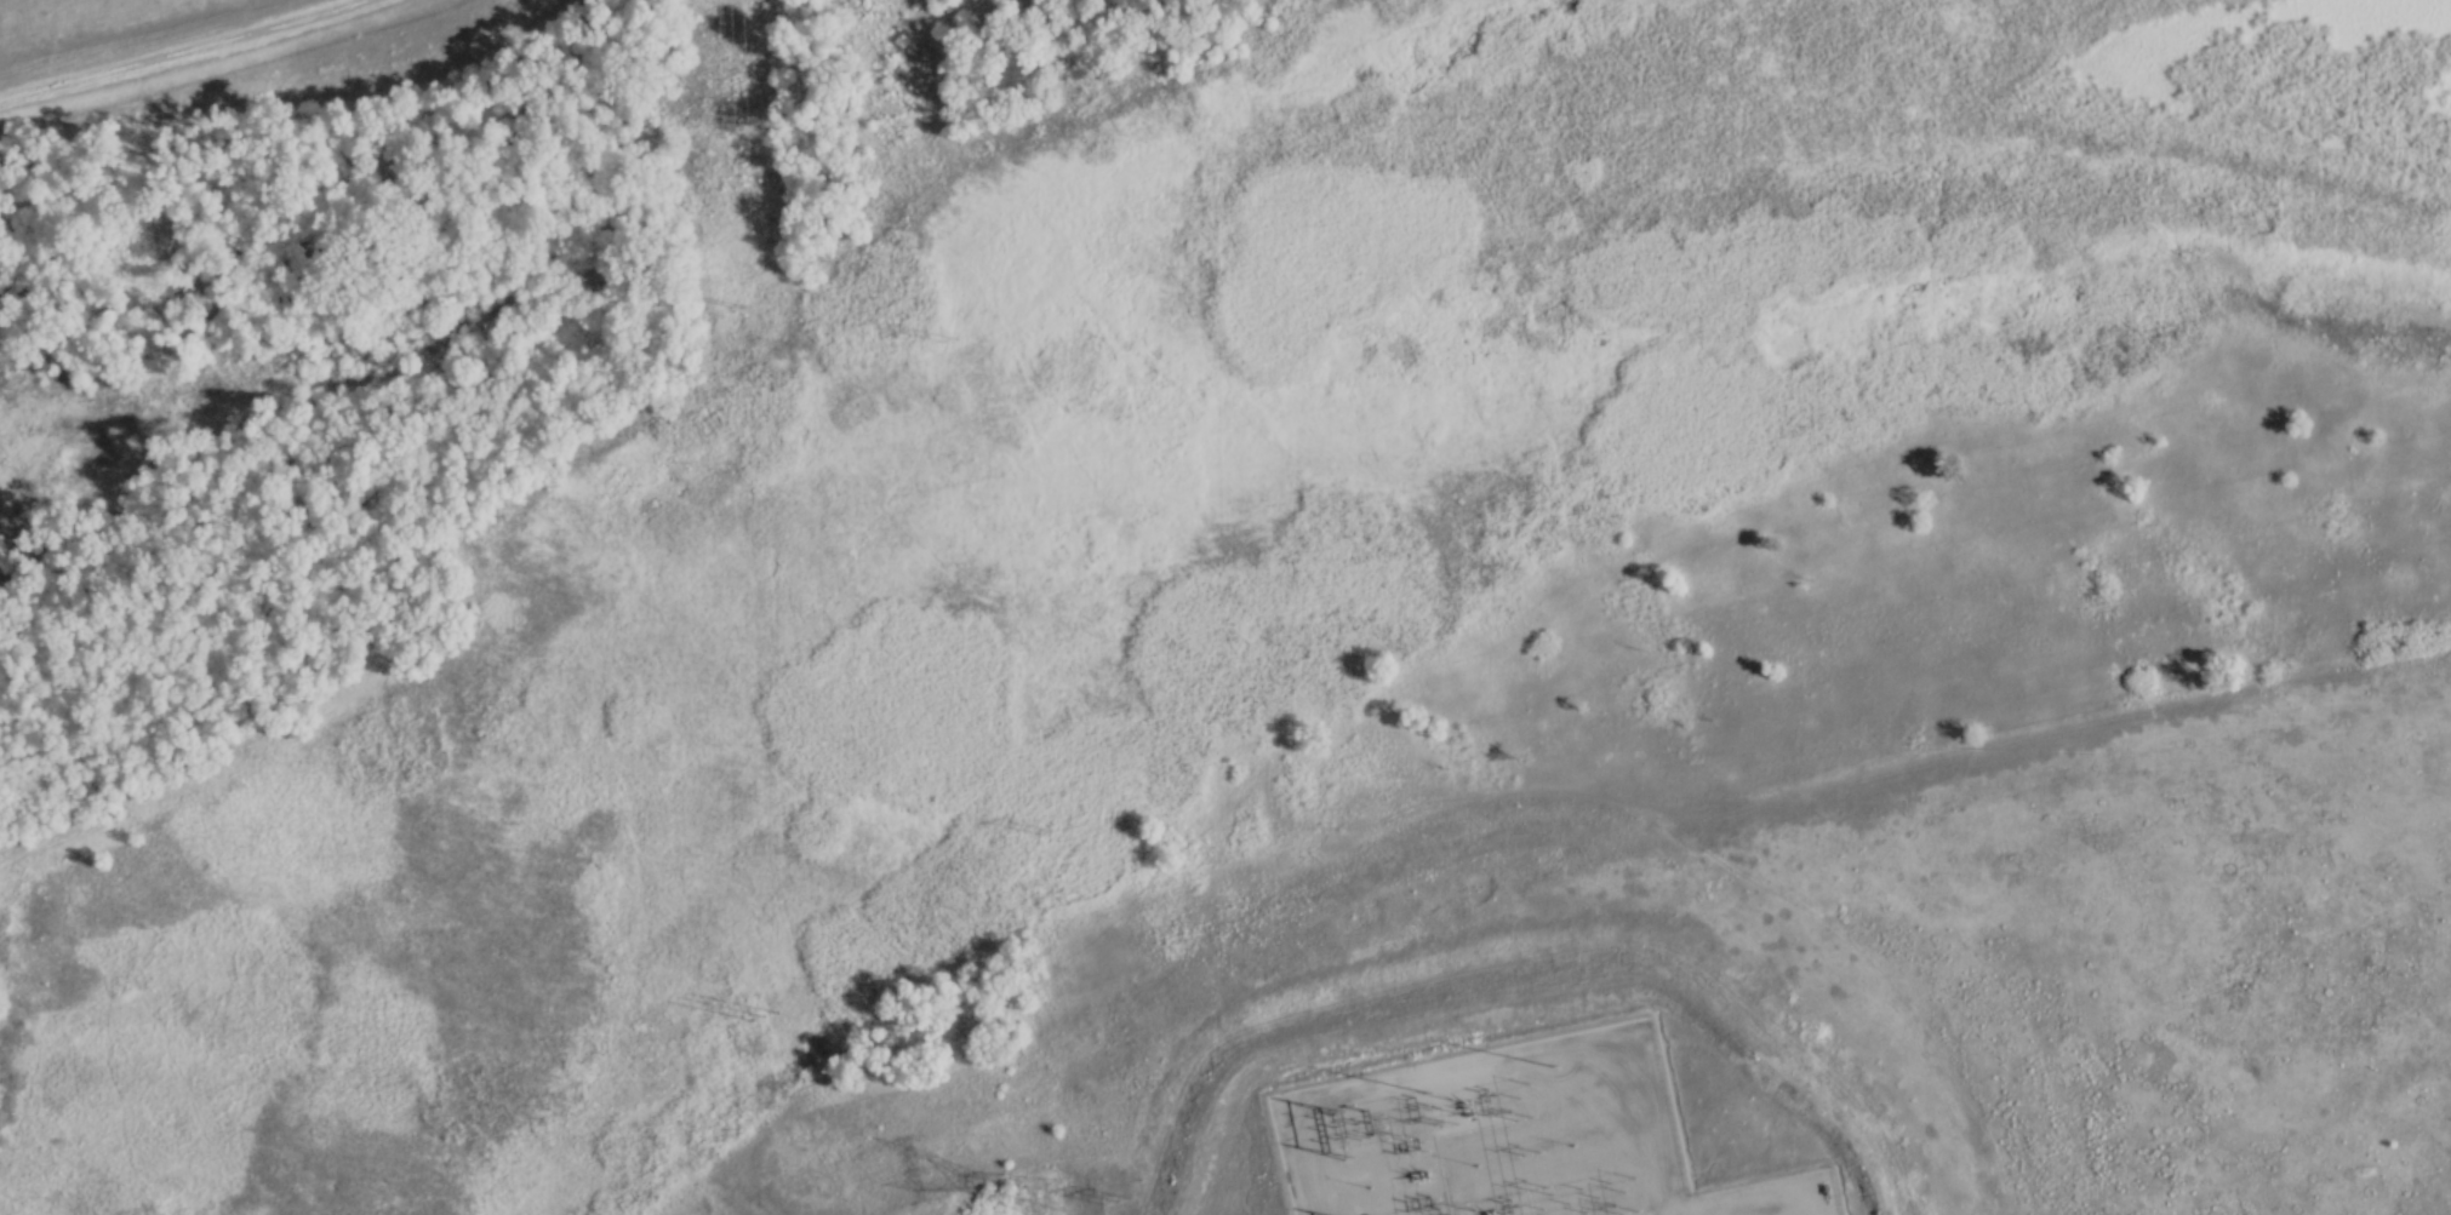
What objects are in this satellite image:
power tower: (756, 309)
building: (715, 313)
power tower: (964, 329)
power tower: (1067, 831)
power tower: (778, 1007)
power substation: (1513, 1136)
power tower: (1053, 1191)
power tower: (1141, 1196)

